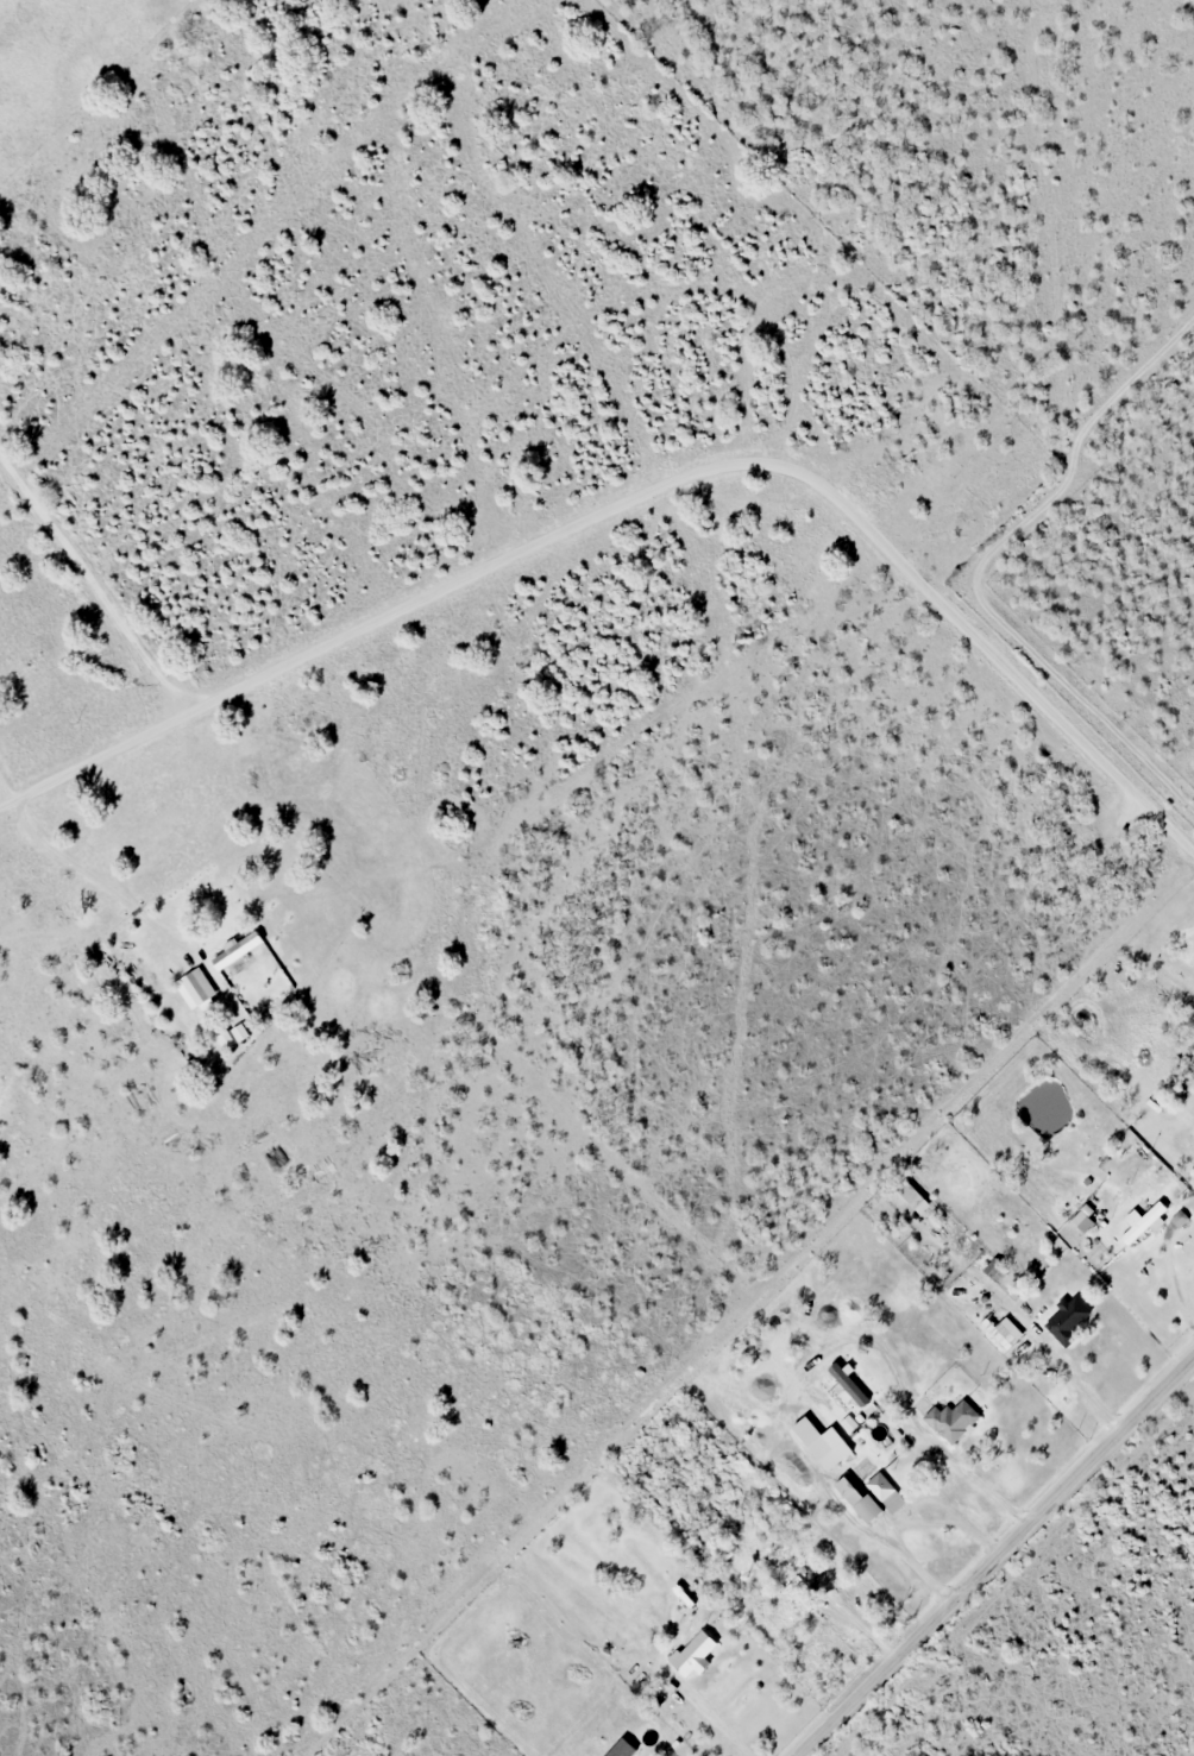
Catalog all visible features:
road: (637, 496)
building: (197, 986)
building: (916, 1195)
building: (1082, 1217)
building: (1180, 1220)
building: (1142, 1222)
building: (994, 1270)
building: (1064, 1321)
building: (999, 1333)
building: (950, 1421)
building: (828, 1447)
building: (885, 1492)
building: (860, 1502)
road: (994, 1556)
building: (696, 1655)

